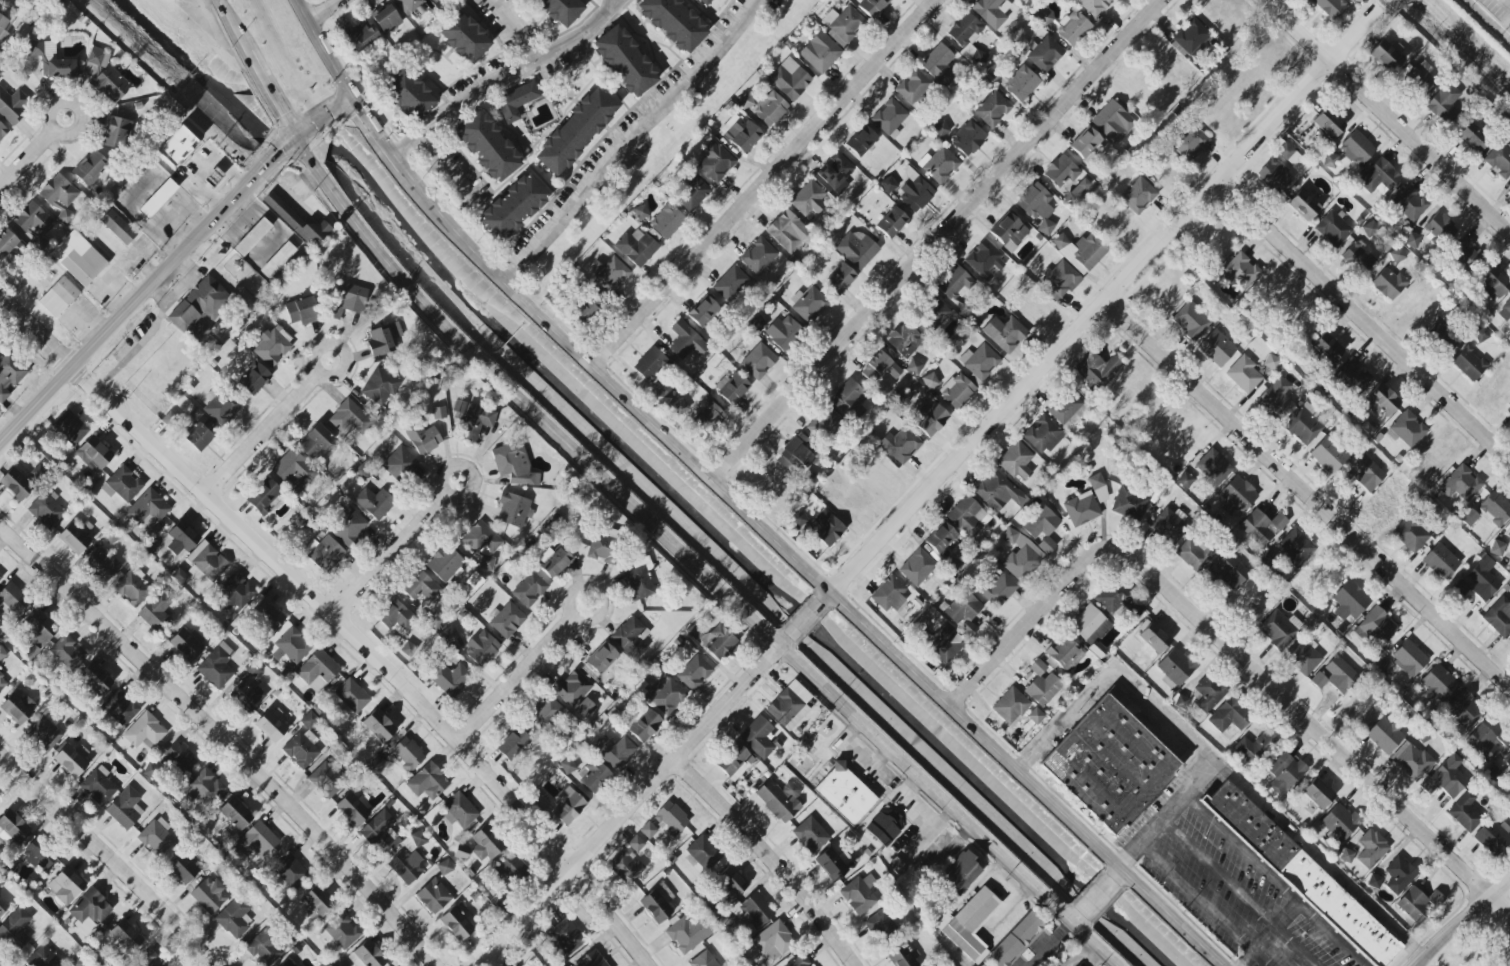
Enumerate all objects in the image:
building: (2, 0)
building: (433, 1)
building: (706, 2)
road: (1506, 2)
road: (1509, 4)
building: (407, 5)
building: (1094, 6)
building: (874, 7)
building: (1330, 7)
road: (320, 10)
building: (561, 10)
building: (991, 12)
building: (1044, 17)
building: (387, 20)
building: (674, 22)
road: (1486, 22)
building: (843, 24)
building: (3, 26)
building: (1073, 28)
road: (237, 30)
road: (515, 31)
building: (965, 33)
building: (362, 35)
building: (464, 37)
building: (1192, 38)
road: (321, 49)
building: (820, 52)
building: (1045, 54)
building: (95, 56)
building: (1387, 56)
building: (52, 61)
building: (625, 61)
building: (939, 65)
road: (506, 78)
building: (789, 79)
building: (1418, 82)
building: (1021, 83)
building: (110, 85)
building: (913, 86)
building: (411, 95)
traffic signals: (349, 98)
road: (274, 99)
building: (516, 101)
building: (1444, 103)
building: (12, 106)
building: (765, 107)
road: (73, 108)
building: (992, 109)
building: (889, 116)
road: (1386, 117)
building: (1113, 122)
building: (1328, 124)
building: (940, 129)
building: (2, 132)
building: (115, 132)
building: (575, 132)
road: (376, 133)
building: (742, 135)
traffic signals: (296, 137)
building: (968, 138)
building: (1471, 138)
road: (630, 141)
building: (861, 141)
building: (1189, 142)
building: (1085, 143)
building: (177, 146)
building: (488, 146)
building: (1356, 149)
building: (1285, 151)
road: (27, 159)
building: (1329, 160)
building: (1499, 160)
building: (715, 162)
building: (939, 165)
building: (90, 168)
building: (1061, 171)
building: (834, 174)
building: (1275, 175)
building: (1378, 177)
road: (763, 183)
building: (888, 184)
building: (1509, 187)
building: (1077, 192)
building: (59, 193)
building: (692, 194)
building: (915, 195)
building: (1138, 196)
building: (157, 198)
building: (808, 199)
building: (1409, 204)
building: (1303, 205)
building: (514, 207)
building: (1037, 207)
building: (640, 212)
building: (297, 221)
building: (666, 221)
building: (891, 222)
building: (33, 225)
building: (118, 227)
building: (1440, 228)
building: (1333, 229)
building: (1370, 229)
building: (787, 230)
building: (1009, 232)
building: (251, 237)
road: (934, 239)
building: (1411, 240)
building: (636, 247)
building: (7, 249)
building: (856, 250)
building: (1080, 251)
building: (1397, 255)
building: (1463, 255)
building: (758, 256)
building: (78, 258)
building: (1357, 258)
building: (983, 259)
building: (277, 260)
road: (170, 265)
building: (1241, 271)
building: (609, 273)
building: (840, 279)
building: (1061, 279)
building: (730, 283)
building: (955, 283)
building: (1389, 284)
building: (1492, 284)
road: (177, 288)
building: (58, 297)
building: (349, 301)
road: (1103, 302)
building: (809, 305)
building: (587, 308)
building: (199, 309)
building: (301, 311)
building: (703, 311)
building: (1504, 311)
building: (932, 315)
building: (1191, 320)
road: (1362, 322)
building: (784, 332)
building: (1005, 333)
building: (1481, 334)
building: (1443, 337)
building: (904, 339)
building: (686, 341)
building: (381, 342)
road: (136, 346)
building: (272, 346)
road: (340, 348)
building: (1217, 348)
building: (1327, 348)
building: (758, 361)
building: (979, 362)
building: (1469, 364)
building: (650, 366)
building: (880, 368)
building: (1094, 369)
building: (10, 375)
building: (1244, 375)
building: (1353, 376)
building: (252, 377)
building: (930, 381)
building: (732, 387)
building: (378, 389)
building: (665, 391)
building: (957, 392)
building: (848, 397)
building: (1275, 399)
building: (1381, 401)
building: (221, 405)
building: (1068, 410)
building: (698, 414)
building: (1509, 414)
building: (349, 418)
building: (473, 419)
building: (932, 420)
building: (823, 424)
building: (70, 428)
building: (1408, 429)
road: (263, 433)
building: (1042, 435)
building: (198, 437)
building: (423, 438)
building: (317, 444)
building: (900, 445)
building: (93, 454)
building: (1329, 454)
building: (794, 455)
building: (1016, 460)
building: (400, 464)
building: (514, 464)
building: (1213, 468)
road: (470, 469)
building: (294, 471)
building: (1366, 472)
building: (1185, 480)
building: (16, 482)
building: (122, 484)
building: (1460, 484)
building: (1098, 488)
building: (998, 491)
road: (1307, 492)
building: (1237, 496)
building: (264, 497)
building: (374, 503)
building: (1129, 504)
building: (1383, 507)
building: (1495, 508)
building: (148, 509)
building: (512, 509)
building: (1081, 509)
building: (46, 510)
building: (968, 517)
building: (1468, 517)
building: (799, 519)
building: (1169, 526)
building: (348, 527)
building: (1042, 527)
building: (1261, 527)
building: (827, 528)
building: (1410, 534)
building: (1509, 534)
building: (182, 538)
building: (481, 538)
building: (941, 538)
building: (1296, 547)
building: (1497, 548)
building: (603, 550)
building: (324, 553)
road: (390, 555)
building: (1194, 555)
building: (1021, 556)
building: (208, 561)
building: (1441, 561)
building: (486, 562)
road: (695, 562)
building: (444, 563)
building: (555, 563)
building: (102, 564)
building: (917, 567)
building: (1231, 571)
road: (809, 572)
building: (0, 578)
building: (1478, 581)
building: (637, 584)
building: (420, 586)
building: (132, 588)
building: (238, 589)
building: (529, 589)
building: (999, 590)
road: (595, 591)
building: (889, 594)
building: (13, 600)
building: (1251, 600)
building: (1350, 602)
building: (962, 607)
building: (156, 609)
building: (265, 612)
building: (395, 616)
building: (1499, 617)
road: (336, 618)
building: (507, 620)
road: (806, 620)
building: (1089, 625)
building: (969, 628)
building: (39, 629)
building: (1277, 630)
building: (449, 634)
building: (1152, 636)
building: (630, 638)
building: (721, 642)
building: (188, 644)
building: (288, 644)
building: (945, 644)
building: (481, 647)
road: (1228, 649)
building: (68, 652)
building: (1064, 652)
building: (1303, 658)
building: (1409, 658)
building: (599, 660)
building: (216, 668)
building: (1175, 668)
building: (318, 671)
building: (694, 673)
building: (1333, 676)
building: (449, 678)
building: (94, 680)
road: (517, 680)
building: (2, 683)
building: (1438, 683)
building: (1042, 684)
building: (571, 688)
building: (1208, 693)
building: (665, 695)
building: (247, 696)
building: (352, 696)
building: (1181, 702)
building: (789, 705)
building: (1010, 706)
building: (17, 707)
building: (120, 708)
building: (1463, 710)
building: (544, 713)
building: (1035, 716)
building: (1229, 716)
building: (272, 725)
building: (645, 726)
building: (378, 727)
building: (44, 732)
building: (145, 732)
building: (1384, 734)
building: (758, 738)
road: (223, 740)
building: (1482, 742)
building: (512, 746)
building: (1253, 746)
building: (300, 748)
building: (615, 751)
building: (407, 754)
building: (179, 758)
building: (72, 759)
building: (732, 759)
building: (1411, 760)
building: (1507, 760)
road: (1217, 762)
building: (1109, 765)
building: (1282, 773)
building: (593, 776)
building: (326, 780)
building: (1445, 780)
building: (427, 782)
building: (98, 786)
building: (204, 787)
building: (845, 794)
building: (1317, 794)
building: (0, 799)
building: (779, 799)
road: (634, 802)
building: (125, 808)
building: (352, 809)
building: (569, 809)
building: (459, 810)
building: (1465, 812)
building: (235, 814)
road: (1170, 815)
building: (671, 819)
building: (1340, 822)
building: (885, 826)
building: (11, 828)
building: (648, 830)
building: (380, 832)
building: (810, 835)
building: (156, 837)
building: (1492, 837)
building: (259, 839)
building: (418, 839)
building: (636, 843)
building: (485, 844)
building: (1371, 848)
building: (704, 852)
building: (38, 855)
road: (108, 858)
road: (769, 859)
building: (833, 864)
building: (407, 865)
building: (444, 867)
building: (625, 867)
building: (182, 868)
building: (509, 869)
building: (290, 871)
building: (960, 873)
road: (1118, 874)
building: (1399, 875)
building: (1302, 876)
road: (1219, 877)
building: (1375, 881)
building: (731, 882)
building: (0, 883)
road: (1273, 883)
building: (66, 885)
building: (209, 895)
building: (434, 896)
road: (1097, 897)
building: (500, 898)
building: (317, 901)
building: (657, 903)
building: (1418, 904)
building: (90, 907)
road: (1204, 907)
building: (3, 908)
building: (749, 912)
building: (234, 917)
road: (1077, 918)
road: (1287, 918)
road: (1461, 921)
building: (457, 924)
building: (880, 924)
building: (969, 924)
building: (15, 929)
building: (340, 931)
building: (688, 933)
building: (125, 937)
building: (564, 937)
building: (773, 940)
building: (1016, 940)
road: (1050, 943)
road: (1258, 947)
road: (1295, 948)
building: (263, 950)
building: (367, 955)
building: (44, 957)
building: (903, 957)
building: (148, 959)
building: (591, 960)
building: (703, 960)
building: (799, 961)
building: (289, 963)
road: (1508, 963)
building: (505, 965)

